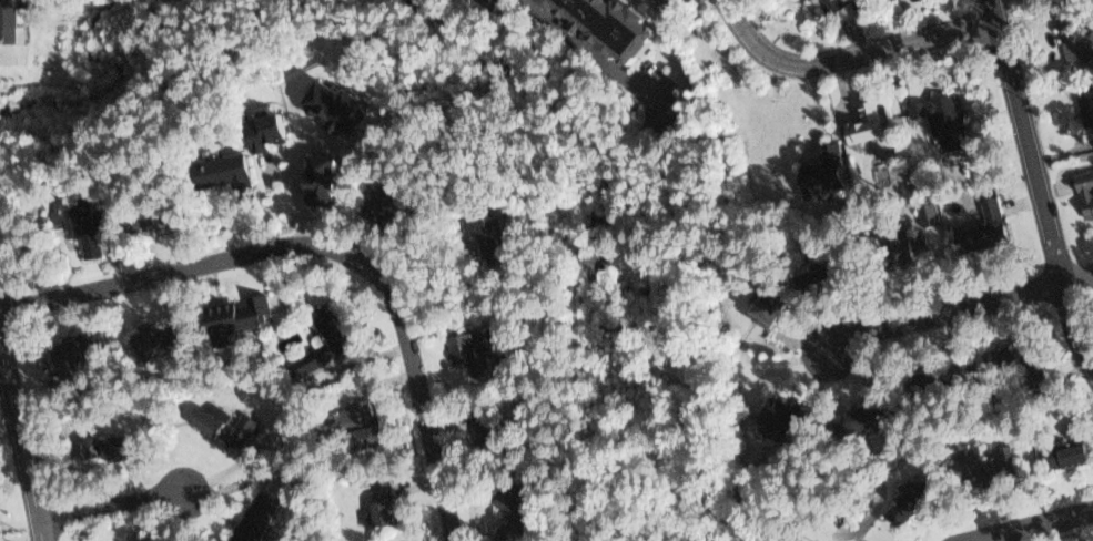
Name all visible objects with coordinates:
building: (486, 3)
building: (830, 4)
building: (8, 20)
building: (613, 25)
building: (1075, 38)
road: (848, 55)
road: (599, 59)
building: (1084, 101)
building: (335, 104)
building: (944, 118)
building: (869, 125)
building: (260, 129)
road: (1029, 142)
building: (819, 169)
building: (318, 173)
building: (225, 177)
building: (1084, 193)
building: (368, 201)
building: (386, 206)
building: (994, 210)
building: (154, 216)
building: (87, 226)
building: (475, 231)
building: (965, 241)
road: (328, 247)
building: (900, 249)
building: (827, 273)
building: (768, 305)
road: (959, 310)
building: (230, 320)
road: (1072, 330)
building: (148, 334)
building: (315, 339)
building: (465, 339)
building: (1018, 346)
building: (68, 348)
building: (930, 370)
building: (943, 379)
building: (478, 412)
building: (859, 414)
building: (770, 415)
building: (216, 422)
building: (348, 423)
building: (103, 439)
road: (22, 443)
building: (1066, 443)
building: (121, 448)
building: (979, 465)
building: (911, 494)
building: (375, 499)
building: (506, 500)
road: (111, 504)
building: (245, 513)
building: (899, 514)
road: (1044, 530)
building: (126, 538)
building: (143, 539)

